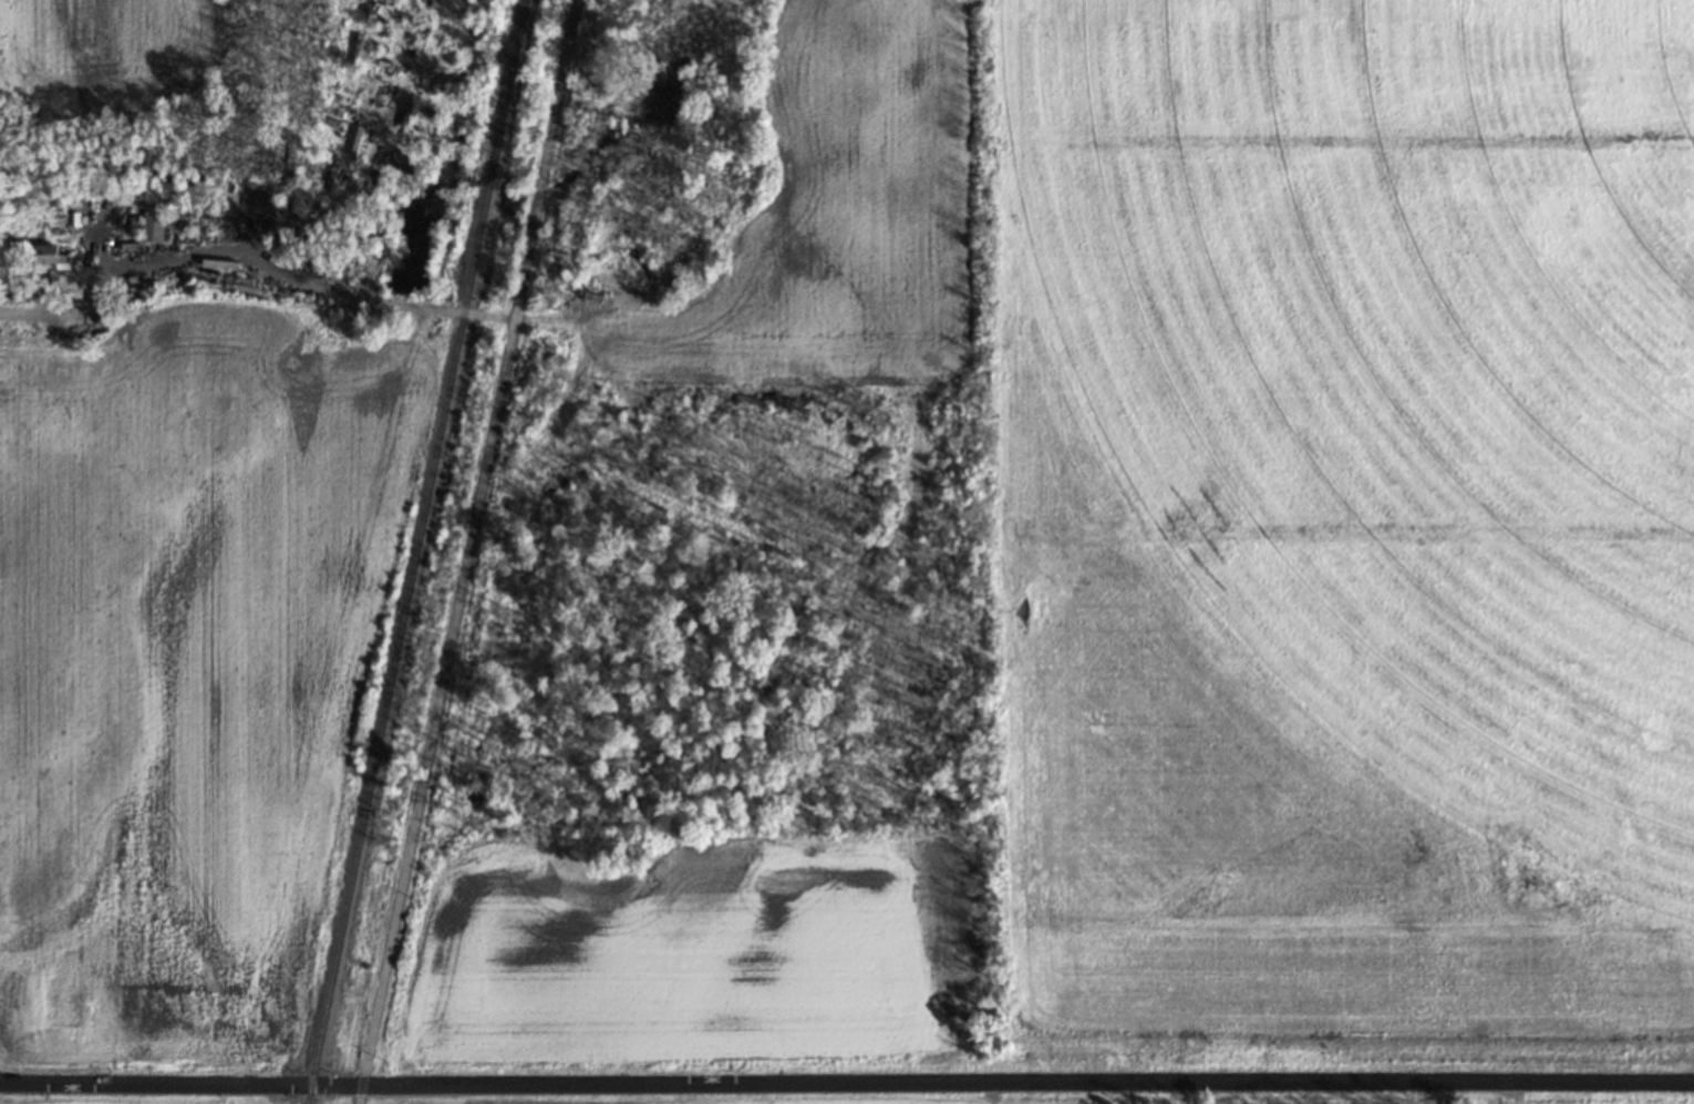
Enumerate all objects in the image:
building: (152, 224)
building: (50, 255)
road: (251, 255)
railway: (413, 551)
road: (465, 551)
road: (846, 1080)

